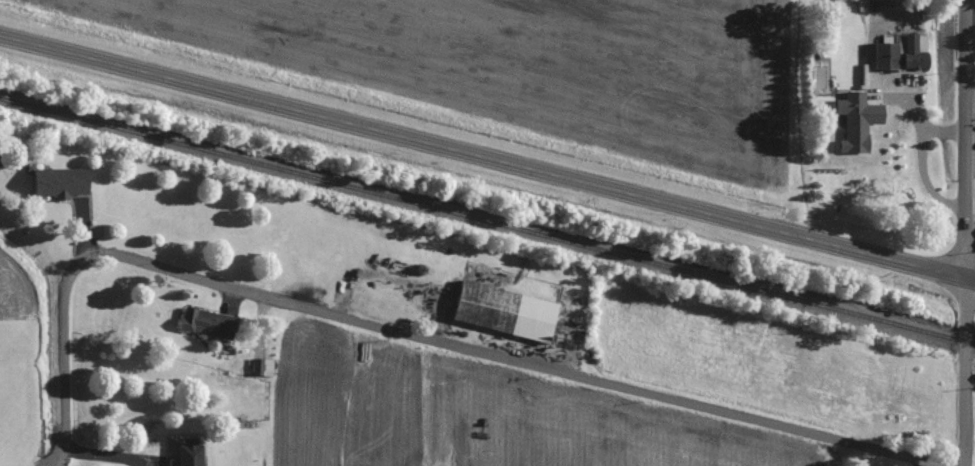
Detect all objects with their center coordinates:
building: (869, 0)
building: (905, 53)
building: (860, 121)
building: (1, 154)
road: (487, 161)
building: (64, 182)
railway: (488, 215)
road: (964, 233)
building: (510, 311)
building: (210, 323)
road: (412, 332)
building: (263, 367)
building: (191, 452)
road: (111, 457)

